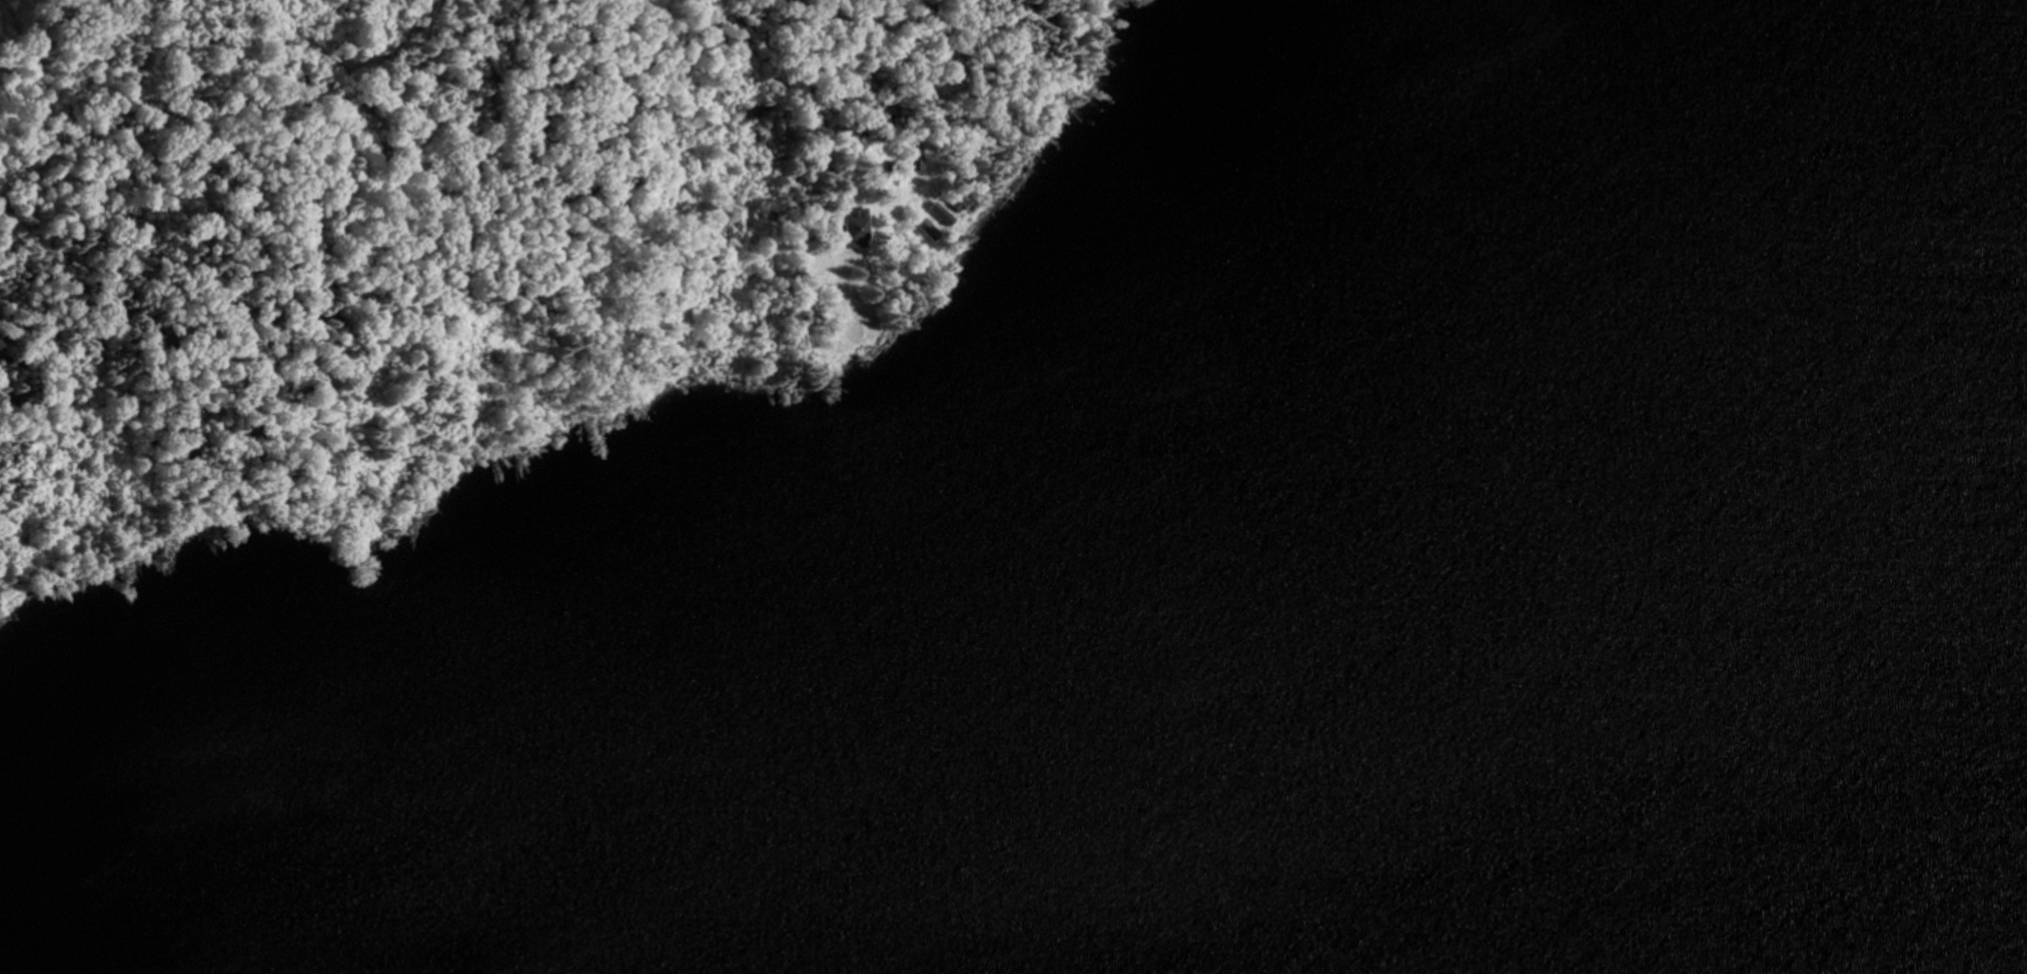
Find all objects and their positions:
building: (915, 152)
building: (915, 166)
building: (955, 202)
building: (939, 212)
building: (926, 226)
building: (854, 227)
building: (961, 244)
building: (814, 402)
road: (536, 458)

